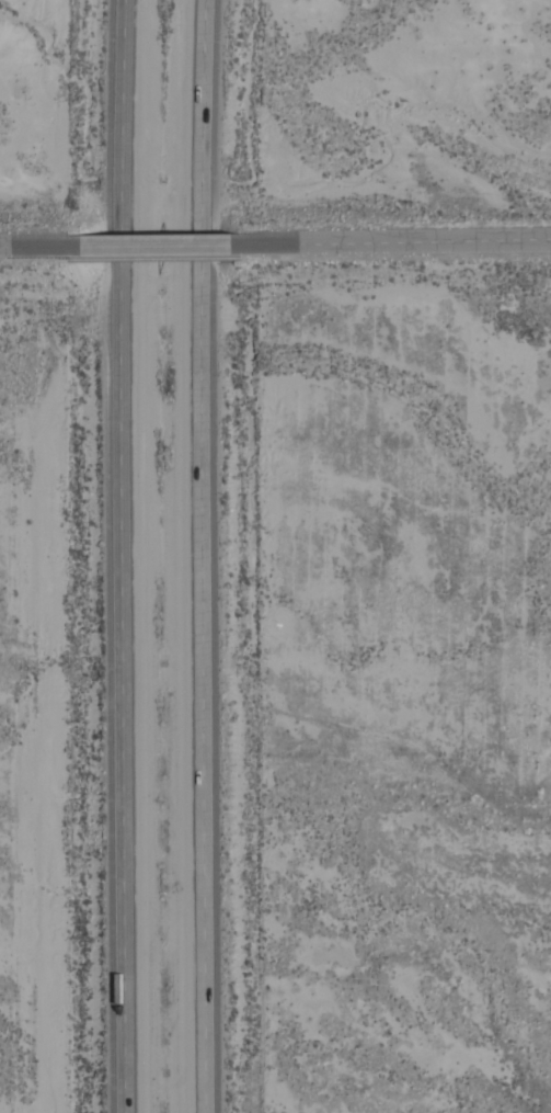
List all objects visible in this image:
road: (407, 241)
road: (161, 246)
road: (28, 247)
road: (120, 556)
road: (195, 556)

